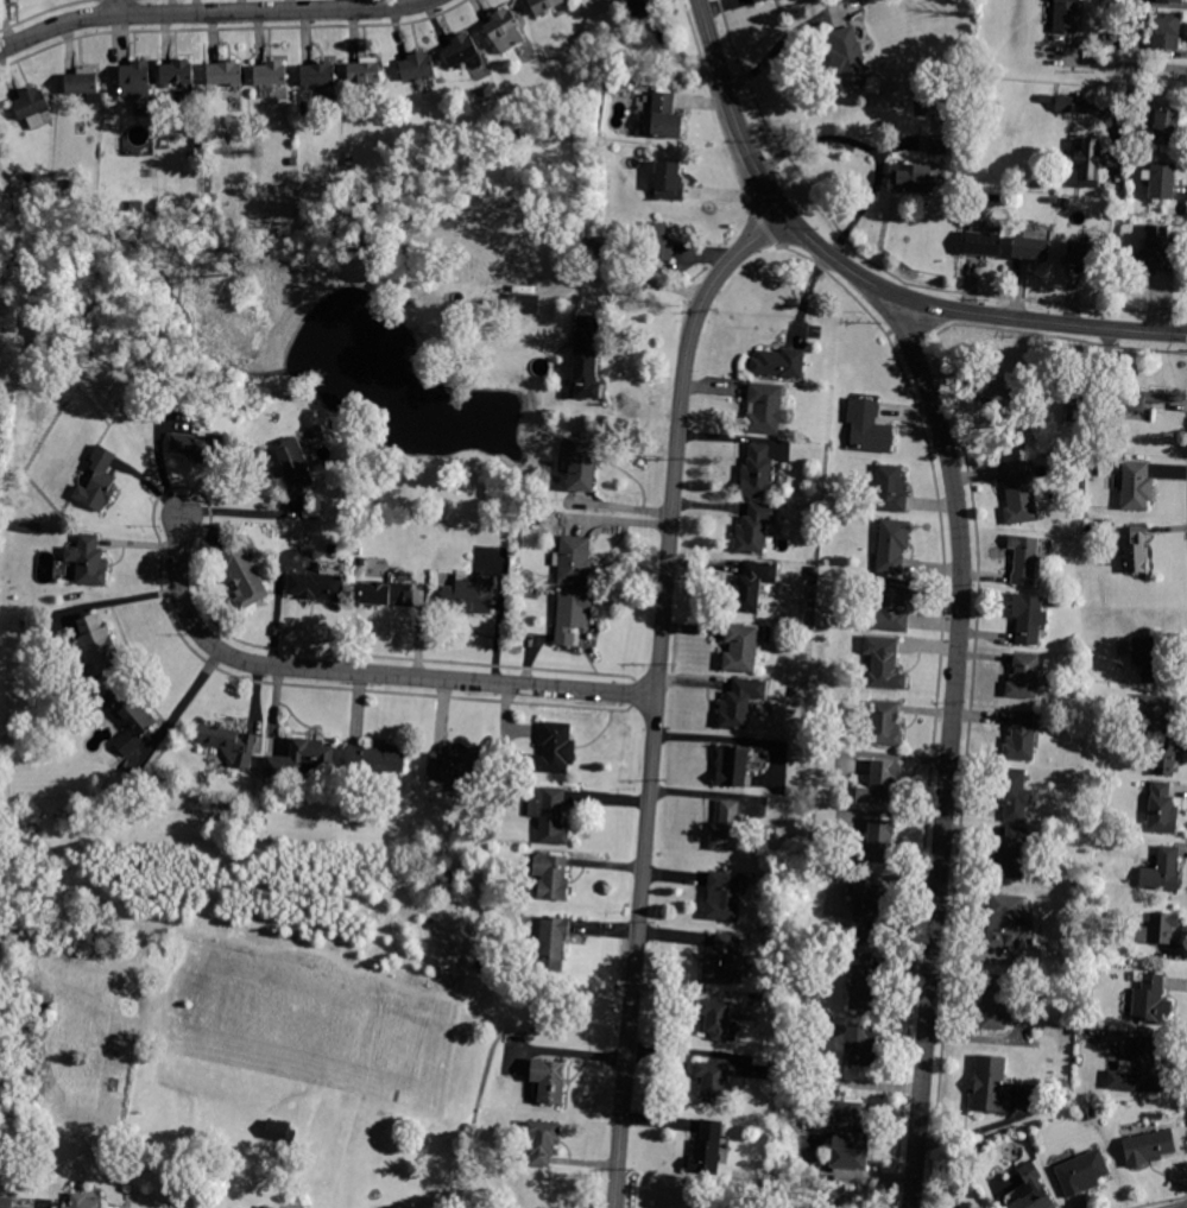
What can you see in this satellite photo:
building: (757, 0)
building: (1174, 0)
building: (1116, 1)
building: (544, 5)
road: (118, 7)
building: (649, 10)
road: (210, 12)
building: (1067, 17)
building: (505, 30)
building: (1169, 30)
building: (461, 50)
building: (848, 58)
road: (1125, 63)
building: (417, 67)
building: (366, 71)
building: (177, 72)
building: (225, 72)
building: (271, 74)
building: (321, 75)
building: (86, 84)
building: (138, 86)
building: (1047, 99)
building: (1063, 103)
building: (33, 107)
building: (307, 110)
building: (665, 116)
building: (1166, 126)
building: (514, 137)
building: (937, 144)
road: (870, 147)
building: (1090, 162)
building: (296, 163)
building: (351, 163)
building: (309, 169)
building: (913, 177)
building: (1162, 181)
building: (669, 182)
building: (70, 188)
building: (1066, 201)
building: (137, 205)
building: (657, 242)
building: (983, 244)
building: (1031, 248)
building: (1156, 251)
building: (1086, 253)
road: (860, 278)
building: (530, 304)
building: (586, 358)
building: (779, 362)
building: (1088, 387)
building: (1002, 396)
building: (1139, 398)
building: (766, 409)
building: (1078, 412)
building: (869, 428)
building: (312, 434)
building: (198, 447)
building: (582, 464)
building: (292, 466)
building: (757, 472)
building: (99, 481)
building: (1136, 486)
building: (891, 488)
road: (1186, 489)
building: (1018, 491)
building: (754, 527)
building: (892, 546)
building: (1136, 551)
building: (1024, 558)
building: (89, 561)
building: (574, 561)
building: (244, 575)
building: (752, 586)
building: (316, 587)
building: (387, 594)
building: (469, 595)
building: (894, 606)
building: (572, 618)
building: (1030, 618)
building: (96, 647)
building: (741, 649)
building: (1147, 659)
building: (886, 665)
road: (360, 672)
building: (1024, 677)
road: (657, 695)
building: (740, 703)
building: (1154, 714)
building: (130, 717)
building: (885, 725)
building: (1021, 738)
building: (228, 742)
building: (553, 750)
road: (948, 752)
building: (301, 759)
building: (375, 759)
building: (1166, 759)
building: (732, 766)
building: (455, 770)
building: (879, 783)
building: (1015, 793)
building: (1162, 809)
building: (550, 816)
building: (263, 821)
building: (727, 828)
building: (878, 842)
building: (1011, 854)
building: (1162, 871)
building: (551, 877)
building: (725, 896)
building: (867, 916)
building: (1005, 921)
building: (1158, 929)
building: (554, 943)
building: (720, 960)
building: (864, 985)
building: (1151, 1001)
building: (1003, 1006)
building: (715, 1018)
building: (860, 1045)
building: (1143, 1065)
building: (549, 1080)
building: (712, 1081)
building: (991, 1086)
building: (1098, 1111)
building: (1087, 1113)
building: (280, 1132)
building: (848, 1137)
building: (542, 1141)
building: (1149, 1147)
building: (707, 1149)
building: (1084, 1172)
building: (776, 1175)
building: (1031, 1190)
building: (845, 1200)
building: (83, 1201)
road: (1158, 1201)
building: (6, 1202)
building: (236, 1207)
building: (264, 1207)

